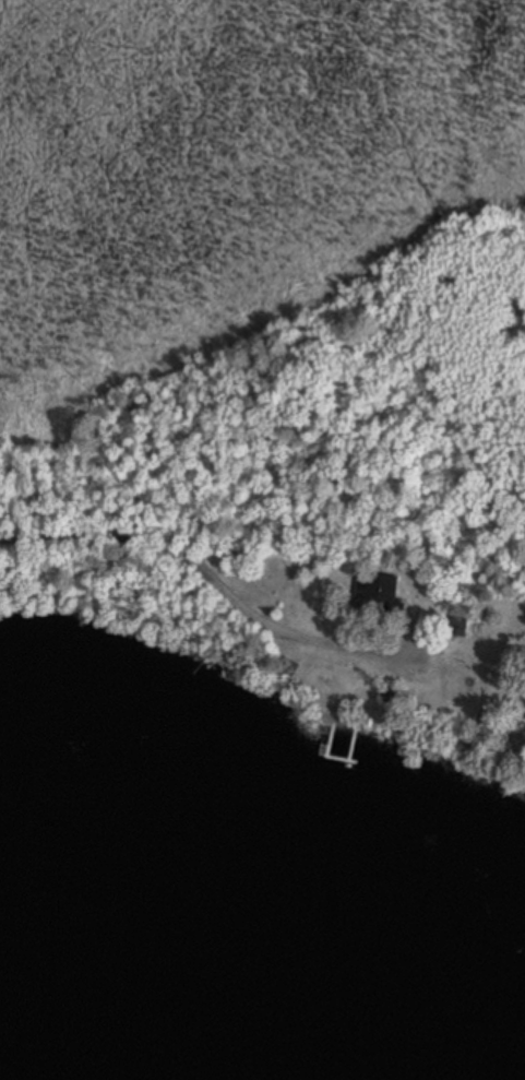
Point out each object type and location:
building: (378, 589)

